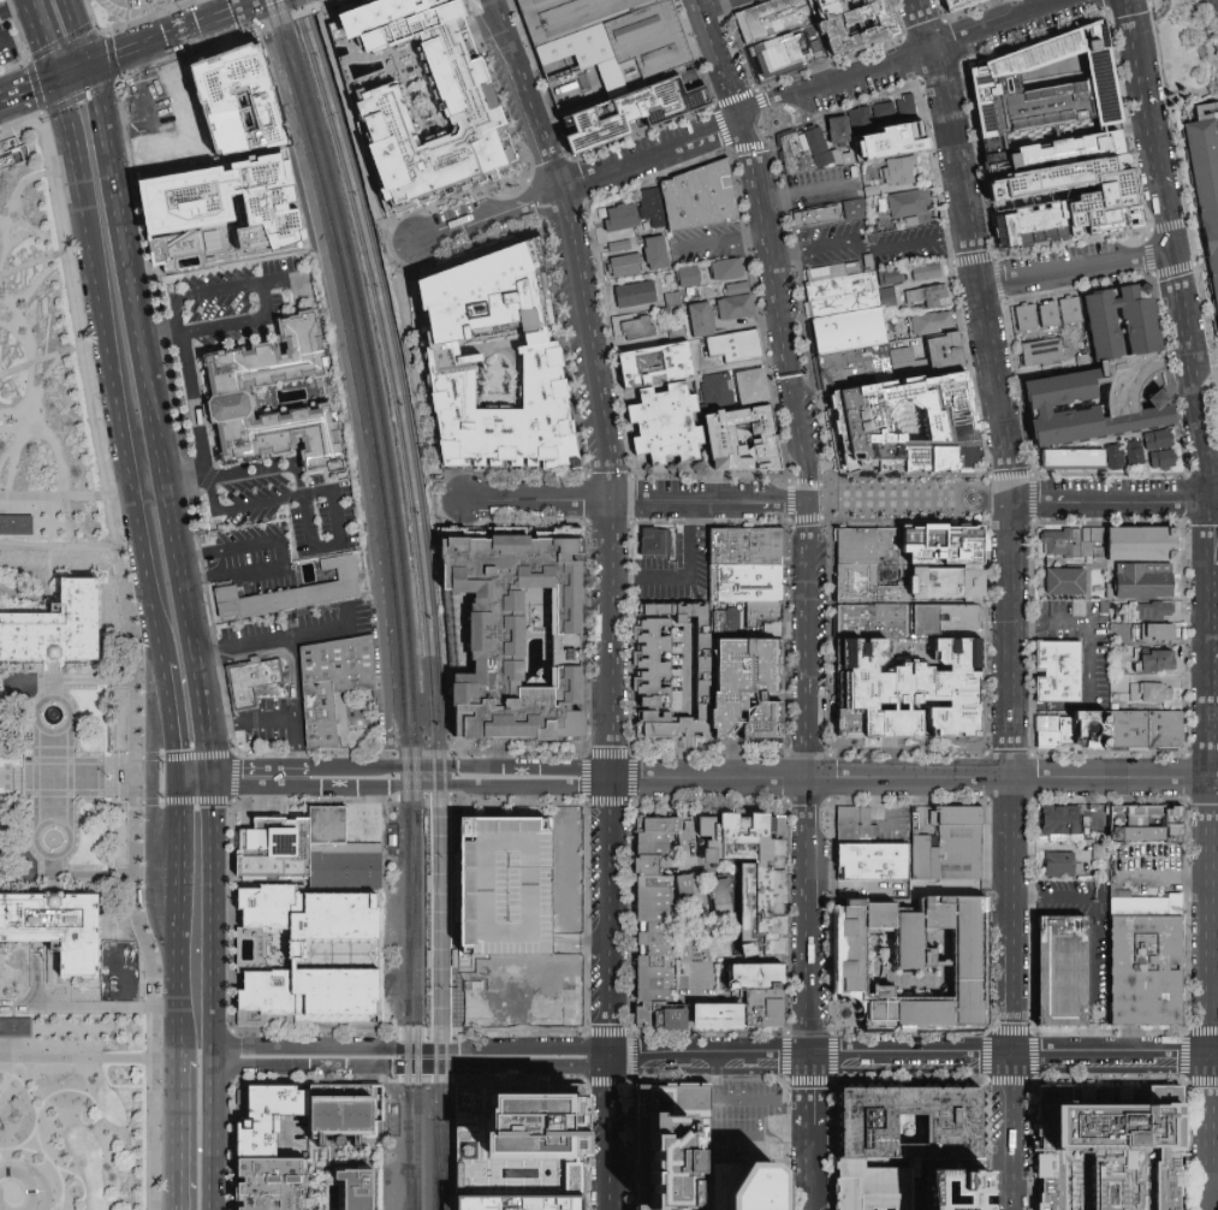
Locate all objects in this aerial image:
road: (713, 2)
building: (956, 4)
road: (12, 10)
road: (212, 10)
road: (71, 17)
road: (93, 19)
building: (771, 20)
road: (926, 25)
road: (1005, 25)
building: (861, 28)
road: (87, 29)
road: (18, 30)
building: (617, 30)
road: (160, 38)
road: (38, 40)
parking lot: (6, 45)
road: (1140, 47)
building: (580, 48)
building: (791, 54)
road: (727, 60)
road: (88, 61)
traffic signals: (90, 66)
road: (113, 69)
building: (611, 78)
traffic signals: (53, 79)
road: (839, 84)
building: (1051, 84)
road: (35, 88)
road: (26, 89)
building: (231, 101)
building: (905, 106)
road: (785, 107)
building: (883, 111)
road: (147, 112)
building: (379, 114)
building: (626, 115)
building: (861, 118)
building: (178, 121)
fountain: (774, 123)
building: (840, 125)
road: (749, 143)
building: (809, 149)
building: (12, 153)
building: (1052, 153)
road: (71, 159)
building: (899, 171)
road: (1163, 173)
road: (30, 178)
road: (583, 182)
parking lot: (825, 184)
building: (1207, 184)
road: (806, 188)
building: (1104, 194)
building: (701, 198)
building: (908, 203)
building: (650, 204)
building: (854, 209)
road: (980, 209)
building: (221, 210)
road: (10, 212)
building: (620, 217)
building: (815, 219)
building: (1030, 224)
road: (36, 231)
road: (22, 235)
road: (986, 239)
road: (5, 241)
road: (724, 241)
parking lot: (866, 245)
road: (873, 250)
road: (64, 251)
building: (655, 253)
building: (623, 259)
road: (25, 265)
railway: (378, 265)
railway: (366, 266)
road: (1080, 267)
building: (925, 272)
building: (730, 273)
road: (980, 274)
building: (687, 277)
road: (281, 280)
road: (261, 284)
road: (30, 291)
building: (635, 292)
building: (845, 296)
building: (926, 296)
parking lot: (237, 302)
building: (672, 302)
building: (735, 307)
road: (785, 310)
building: (1059, 313)
road: (1186, 318)
building: (701, 319)
building: (1024, 319)
building: (933, 320)
road: (8, 325)
building: (635, 326)
building: (851, 333)
road: (23, 334)
building: (747, 348)
building: (537, 351)
building: (1041, 352)
road: (30, 361)
building: (656, 367)
railway: (361, 368)
railway: (372, 368)
building: (845, 372)
building: (1107, 374)
road: (339, 378)
road: (594, 381)
road: (189, 384)
building: (751, 386)
building: (719, 392)
building: (231, 393)
road: (29, 403)
road: (149, 410)
road: (1199, 415)
road: (26, 420)
building: (905, 423)
road: (5, 426)
building: (667, 427)
building: (745, 439)
building: (1135, 447)
building: (1159, 450)
road: (10, 451)
road: (121, 451)
road: (55, 452)
building: (1115, 456)
building: (1134, 457)
building: (1073, 458)
road: (1207, 475)
road: (185, 480)
road: (333, 492)
road: (46, 496)
road: (106, 496)
road: (302, 497)
fountain: (962, 498)
road: (635, 502)
road: (911, 502)
road: (1115, 503)
parking lot: (286, 504)
building: (14, 524)
road: (77, 526)
building: (1071, 542)
building: (663, 544)
building: (940, 544)
building: (1141, 544)
road: (59, 546)
road: (226, 547)
building: (748, 547)
building: (869, 547)
road: (688, 565)
road: (243, 570)
railway: (430, 579)
railway: (420, 580)
building: (1142, 581)
building: (866, 582)
building: (950, 582)
building: (1064, 582)
road: (1211, 583)
building: (749, 585)
building: (301, 592)
road: (1214, 597)
building: (1148, 613)
building: (947, 619)
road: (345, 621)
building: (748, 621)
building: (873, 622)
building: (55, 627)
road: (317, 631)
building: (1155, 631)
building: (513, 634)
road: (135, 636)
road: (240, 645)
building: (337, 659)
building: (1153, 660)
road: (1088, 665)
building: (1059, 672)
building: (673, 675)
road: (93, 680)
road: (291, 680)
building: (251, 682)
road: (52, 686)
building: (749, 692)
building: (908, 692)
building: (1149, 693)
road: (61, 700)
building: (327, 708)
building: (340, 711)
fountain: (52, 716)
road: (1214, 718)
road: (168, 720)
road: (248, 723)
road: (1012, 725)
building: (1093, 730)
building: (1148, 730)
building: (1051, 741)
road: (20, 746)
park: (65, 749)
road: (296, 751)
road: (204, 754)
road: (586, 755)
road: (451, 765)
road: (5, 777)
road: (52, 777)
road: (55, 777)
road: (63, 777)
road: (124, 777)
road: (234, 777)
railway: (416, 778)
traffic signals: (177, 779)
road: (192, 779)
traffic signals: (208, 779)
road: (251, 779)
road: (810, 779)
road: (914, 779)
road: (452, 784)
road: (518, 797)
road: (525, 801)
road: (151, 803)
railway: (423, 807)
road: (877, 809)
building: (1065, 820)
road: (61, 824)
building: (1151, 824)
building: (673, 828)
building: (858, 828)
building: (325, 831)
fountain: (52, 840)
building: (667, 840)
building: (273, 844)
building: (956, 844)
building: (656, 850)
building: (1062, 862)
building: (875, 864)
road: (52, 867)
building: (650, 867)
parking lot: (1147, 867)
building: (344, 870)
road: (95, 874)
road: (1165, 877)
railway: (408, 879)
building: (754, 879)
building: (453, 882)
building: (427, 883)
parking lot: (507, 883)
building: (655, 883)
building: (507, 886)
building: (688, 886)
building: (699, 886)
road: (177, 892)
building: (656, 895)
building: (658, 906)
building: (1145, 906)
railway: (412, 913)
road: (427, 915)
road: (607, 917)
road: (213, 918)
building: (656, 918)
railway: (434, 927)
railway: (445, 929)
building: (656, 929)
building: (57, 930)
road: (1091, 933)
road: (1211, 936)
building: (656, 939)
road: (578, 945)
building: (656, 951)
building: (296, 955)
building: (687, 955)
building: (699, 955)
building: (453, 957)
building: (427, 959)
building: (919, 961)
building: (655, 962)
parking lot: (1100, 969)
building: (1147, 971)
building: (1063, 972)
building: (655, 974)
building: (755, 975)
road: (231, 981)
building: (655, 985)
building: (655, 997)
road: (1011, 1003)
road: (17, 1006)
road: (82, 1006)
building: (1101, 1007)
railway: (417, 1010)
fountain: (845, 1013)
building: (646, 1015)
building: (743, 1016)
building: (16, 1026)
railway: (463, 1026)
road: (176, 1032)
railway: (408, 1054)
road: (612, 1056)
road: (1115, 1056)
road: (195, 1057)
road: (77, 1058)
road: (18, 1061)
road: (83, 1093)
road: (808, 1097)
road: (761, 1101)
road: (32, 1104)
building: (344, 1110)
building: (268, 1117)
building: (530, 1126)
building: (953, 1128)
building: (1113, 1131)
road: (176, 1133)
road: (213, 1133)
road: (607, 1133)
road: (1010, 1133)
road: (759, 1140)
building: (667, 1144)
road: (29, 1150)
building: (776, 1150)
railway: (408, 1151)
railway: (410, 1151)
railway: (438, 1162)
railway: (441, 1162)
road: (63, 1169)
road: (808, 1174)
building: (946, 1178)
building: (269, 1185)
road: (61, 1186)
building: (358, 1187)
building: (748, 1187)
building: (869, 1188)
road: (22, 1190)
building: (521, 1200)
building: (949, 1203)
road: (57, 1204)

